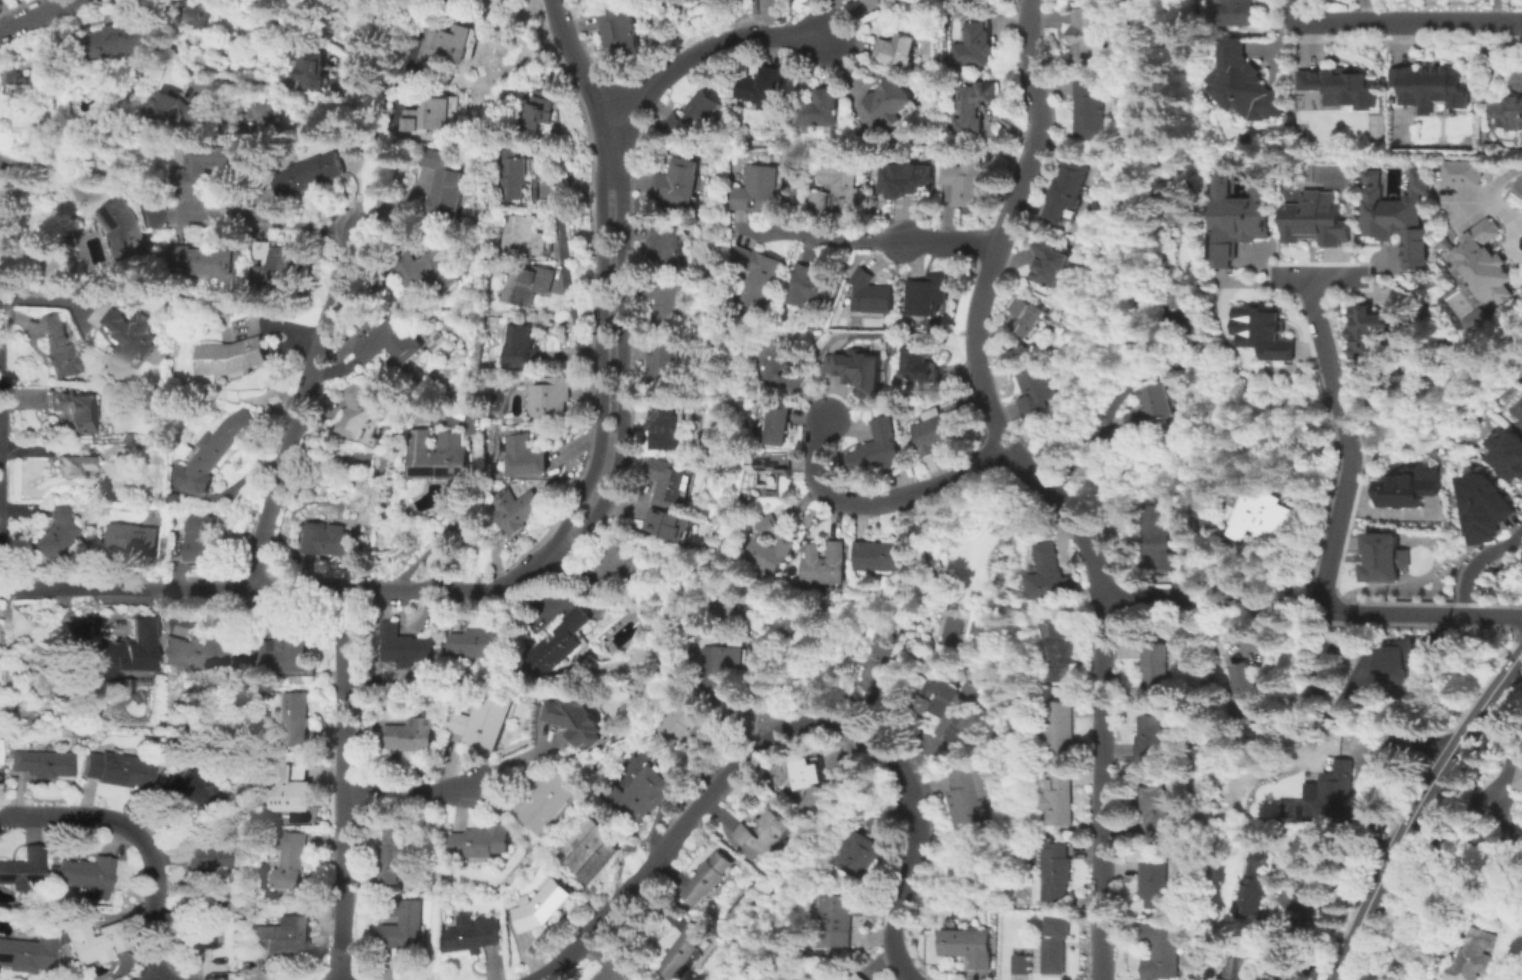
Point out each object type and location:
building: (875, 0)
building: (460, 1)
building: (1239, 11)
road: (1292, 11)
road: (33, 15)
building: (198, 17)
road: (1409, 22)
building: (619, 31)
building: (1084, 35)
road: (169, 41)
building: (456, 42)
building: (119, 43)
road: (706, 45)
building: (972, 46)
building: (896, 52)
road: (572, 57)
building: (200, 60)
building: (315, 67)
building: (21, 79)
building: (1245, 79)
building: (1431, 82)
building: (1341, 83)
building: (763, 88)
building: (891, 101)
building: (971, 106)
road: (1034, 107)
building: (173, 109)
building: (539, 110)
building: (818, 110)
building: (1086, 111)
building: (1513, 114)
building: (691, 115)
building: (431, 117)
building: (264, 121)
road: (608, 138)
road: (54, 165)
building: (1462, 170)
building: (307, 175)
building: (905, 175)
building: (514, 177)
building: (190, 179)
building: (964, 180)
building: (676, 182)
building: (447, 188)
building: (835, 188)
road: (1489, 189)
building: (754, 190)
building: (1062, 190)
building: (1181, 204)
building: (1239, 210)
building: (1396, 213)
building: (1312, 218)
road: (240, 219)
road: (1516, 223)
building: (126, 232)
road: (816, 234)
building: (522, 236)
road: (946, 241)
road: (1510, 243)
building: (663, 246)
building: (203, 260)
building: (1484, 260)
building: (1048, 263)
building: (277, 264)
building: (425, 270)
road: (566, 275)
building: (753, 275)
road: (1319, 275)
building: (528, 285)
building: (806, 287)
building: (869, 294)
building: (926, 294)
building: (1180, 297)
road: (60, 299)
building: (152, 301)
building: (667, 305)
building: (1477, 315)
building: (1024, 317)
building: (1377, 324)
building: (1259, 331)
building: (129, 335)
building: (390, 344)
building: (520, 346)
building: (60, 348)
building: (231, 357)
road: (599, 362)
building: (916, 362)
building: (664, 363)
building: (773, 367)
road: (619, 369)
building: (852, 370)
building: (1033, 391)
building: (548, 398)
road: (298, 407)
building: (1149, 408)
building: (1521, 409)
building: (70, 410)
building: (362, 410)
building: (1520, 423)
building: (663, 425)
building: (775, 425)
building: (935, 431)
road: (1097, 433)
road: (1348, 442)
building: (877, 449)
building: (215, 450)
building: (1509, 452)
building: (437, 457)
building: (524, 457)
building: (75, 462)
building: (770, 473)
building: (664, 481)
building: (1411, 488)
building: (171, 498)
road: (466, 498)
road: (876, 499)
building: (515, 510)
building: (1487, 510)
building: (1256, 516)
building: (668, 521)
building: (53, 533)
building: (1156, 534)
building: (199, 537)
building: (132, 538)
building: (327, 541)
building: (766, 546)
building: (878, 556)
road: (1476, 561)
building: (1380, 562)
building: (620, 563)
building: (823, 564)
road: (1093, 572)
road: (522, 573)
building: (1052, 578)
road: (243, 588)
road: (1135, 596)
road: (1243, 602)
road: (1418, 613)
building: (974, 627)
building: (7, 634)
building: (486, 643)
building: (561, 644)
building: (406, 649)
building: (130, 652)
building: (284, 652)
building: (1059, 653)
building: (203, 656)
building: (1399, 658)
building: (718, 665)
building: (1155, 667)
road: (1516, 673)
building: (1243, 687)
building: (948, 706)
building: (576, 717)
building: (293, 720)
building: (679, 721)
road: (783, 725)
building: (484, 726)
building: (1057, 728)
building: (410, 735)
building: (1150, 738)
building: (980, 761)
building: (42, 764)
building: (119, 770)
building: (1519, 780)
building: (1333, 783)
road: (341, 784)
building: (189, 789)
building: (286, 791)
road: (408, 791)
building: (815, 793)
building: (638, 795)
building: (1058, 798)
building: (546, 802)
building: (968, 802)
road: (1417, 809)
building: (1154, 812)
road: (1464, 832)
building: (762, 835)
road: (139, 838)
building: (480, 841)
building: (393, 854)
building: (593, 854)
building: (858, 856)
building: (289, 861)
building: (207, 866)
building: (22, 869)
building: (1057, 872)
building: (86, 876)
building: (707, 879)
building: (1154, 884)
building: (1253, 887)
building: (539, 906)
building: (837, 921)
building: (403, 926)
building: (199, 927)
building: (472, 935)
building: (282, 936)
building: (94, 943)
building: (967, 946)
building: (1053, 947)
building: (681, 951)
building: (28, 953)
building: (1163, 954)
building: (1472, 956)
building: (1295, 961)
building: (1024, 963)
building: (1234, 969)
building: (616, 971)
building: (858, 977)

